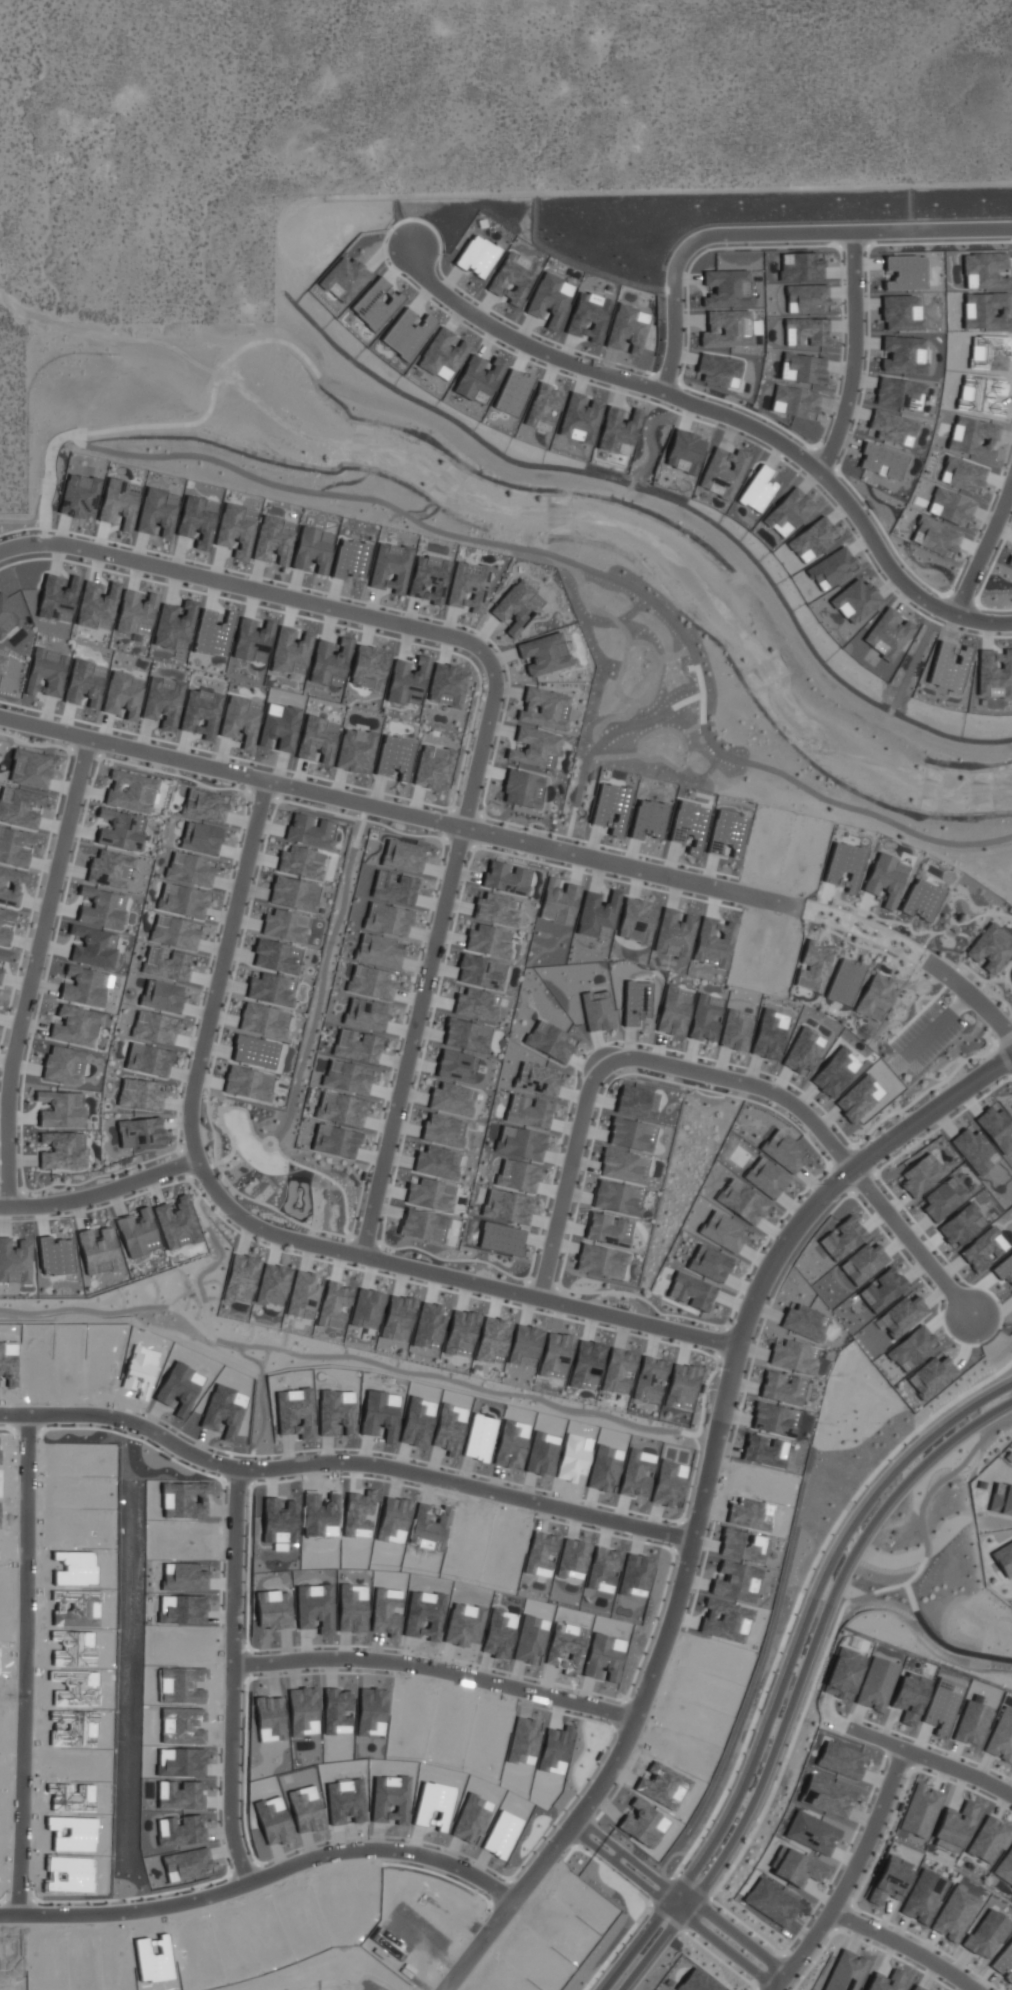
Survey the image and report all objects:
road: (771, 231)
road: (854, 354)
road: (729, 416)
building: (79, 495)
building: (119, 502)
building: (157, 511)
building: (197, 520)
building: (236, 529)
building: (273, 539)
building: (313, 549)
road: (983, 549)
building: (350, 559)
building: (390, 567)
building: (429, 579)
building: (468, 586)
road: (245, 587)
building: (57, 598)
building: (96, 605)
building: (517, 606)
building: (136, 613)
building: (8, 616)
building: (174, 625)
building: (213, 634)
building: (252, 640)
building: (290, 651)
building: (544, 653)
building: (1, 662)
building: (330, 662)
building: (368, 667)
building: (46, 673)
building: (407, 681)
building: (84, 683)
building: (447, 685)
building: (123, 695)
building: (163, 701)
building: (544, 708)
building: (201, 713)
building: (240, 720)
building: (317, 740)
building: (535, 747)
building: (354, 751)
building: (395, 756)
building: (430, 767)
building: (30, 769)
building: (524, 789)
building: (130, 791)
building: (205, 805)
building: (19, 807)
building: (611, 808)
building: (649, 819)
building: (689, 825)
building: (121, 830)
building: (309, 830)
building: (727, 833)
building: (201, 837)
road: (521, 843)
building: (14, 846)
building: (403, 855)
building: (300, 862)
building: (845, 866)
building: (108, 868)
building: (190, 868)
building: (506, 877)
building: (886, 878)
building: (11, 884)
building: (394, 887)
building: (293, 893)
building: (183, 900)
building: (922, 900)
building: (559, 902)
building: (101, 907)
building: (497, 909)
building: (597, 912)
building: (387, 919)
building: (636, 920)
building: (2, 924)
building: (285, 925)
building: (174, 932)
building: (674, 934)
building: (489, 940)
building: (713, 942)
building: (93, 947)
building: (991, 948)
building: (379, 951)
building: (5, 955)
road: (435, 955)
building: (277, 956)
building: (167, 964)
building: (813, 967)
building: (482, 971)
road: (36, 972)
building: (0, 974)
building: (845, 981)
building: (371, 982)
building: (83, 986)
building: (271, 989)
building: (162, 996)
building: (635, 1002)
building: (476, 1005)
building: (674, 1011)
building: (596, 1012)
building: (366, 1014)
building: (705, 1017)
building: (263, 1020)
building: (76, 1026)
building: (154, 1027)
building: (735, 1031)
building: (467, 1035)
building: (357, 1046)
building: (254, 1051)
building: (148, 1060)
building: (64, 1064)
building: (457, 1066)
building: (348, 1077)
building: (538, 1079)
building: (247, 1084)
building: (141, 1094)
building: (452, 1099)
building: (341, 1108)
building: (61, 1109)
building: (528, 1111)
building: (996, 1128)
building: (444, 1130)
building: (140, 1132)
road: (825, 1135)
building: (335, 1141)
building: (521, 1143)
building: (62, 1150)
building: (975, 1150)
building: (784, 1152)
building: (437, 1162)
building: (623, 1166)
park: (283, 1171)
building: (518, 1175)
building: (922, 1175)
road: (570, 1176)
building: (766, 1178)
road: (100, 1195)
building: (431, 1195)
building: (617, 1198)
building: (943, 1200)
building: (741, 1201)
building: (508, 1206)
building: (177, 1223)
building: (423, 1225)
building: (960, 1225)
building: (608, 1229)
road: (267, 1230)
building: (723, 1231)
building: (138, 1233)
building: (843, 1238)
building: (501, 1239)
building: (99, 1251)
building: (55, 1256)
building: (600, 1260)
building: (15, 1261)
building: (710, 1263)
building: (863, 1263)
building: (1004, 1269)
building: (241, 1279)
building: (273, 1284)
building: (882, 1289)
building: (691, 1291)
building: (335, 1305)
building: (367, 1308)
building: (903, 1316)
building: (398, 1318)
building: (802, 1322)
building: (429, 1326)
building: (461, 1333)
building: (493, 1340)
building: (525, 1345)
building: (912, 1348)
building: (556, 1355)
building: (794, 1357)
building: (587, 1365)
building: (619, 1371)
building: (931, 1377)
building: (650, 1379)
building: (682, 1386)
building: (783, 1388)
building: (773, 1420)
road: (348, 1462)
building: (1001, 1499)
road: (707, 1500)
building: (1004, 1558)
road: (810, 1609)
road: (39, 1665)
road: (450, 1670)
building: (844, 1673)
road: (246, 1676)
road: (806, 1683)
building: (876, 1684)
building: (910, 1696)
building: (942, 1705)
building: (972, 1723)
building: (1001, 1737)
building: (841, 1760)
road: (935, 1762)
building: (828, 1795)
building: (921, 1810)
building: (954, 1827)
building: (988, 1839)
road: (636, 1853)
road: (626, 1867)
building: (1005, 1867)
building: (799, 1868)
road: (854, 1876)
building: (890, 1880)
road: (269, 1881)
road: (677, 1896)
building: (923, 1896)
building: (771, 1902)
building: (954, 1914)
road: (738, 1930)
building: (986, 1934)
road: (725, 1945)
road: (635, 1946)
road: (907, 1946)
building: (1004, 1962)
building: (846, 1972)
building: (886, 1981)
building: (917, 1987)

